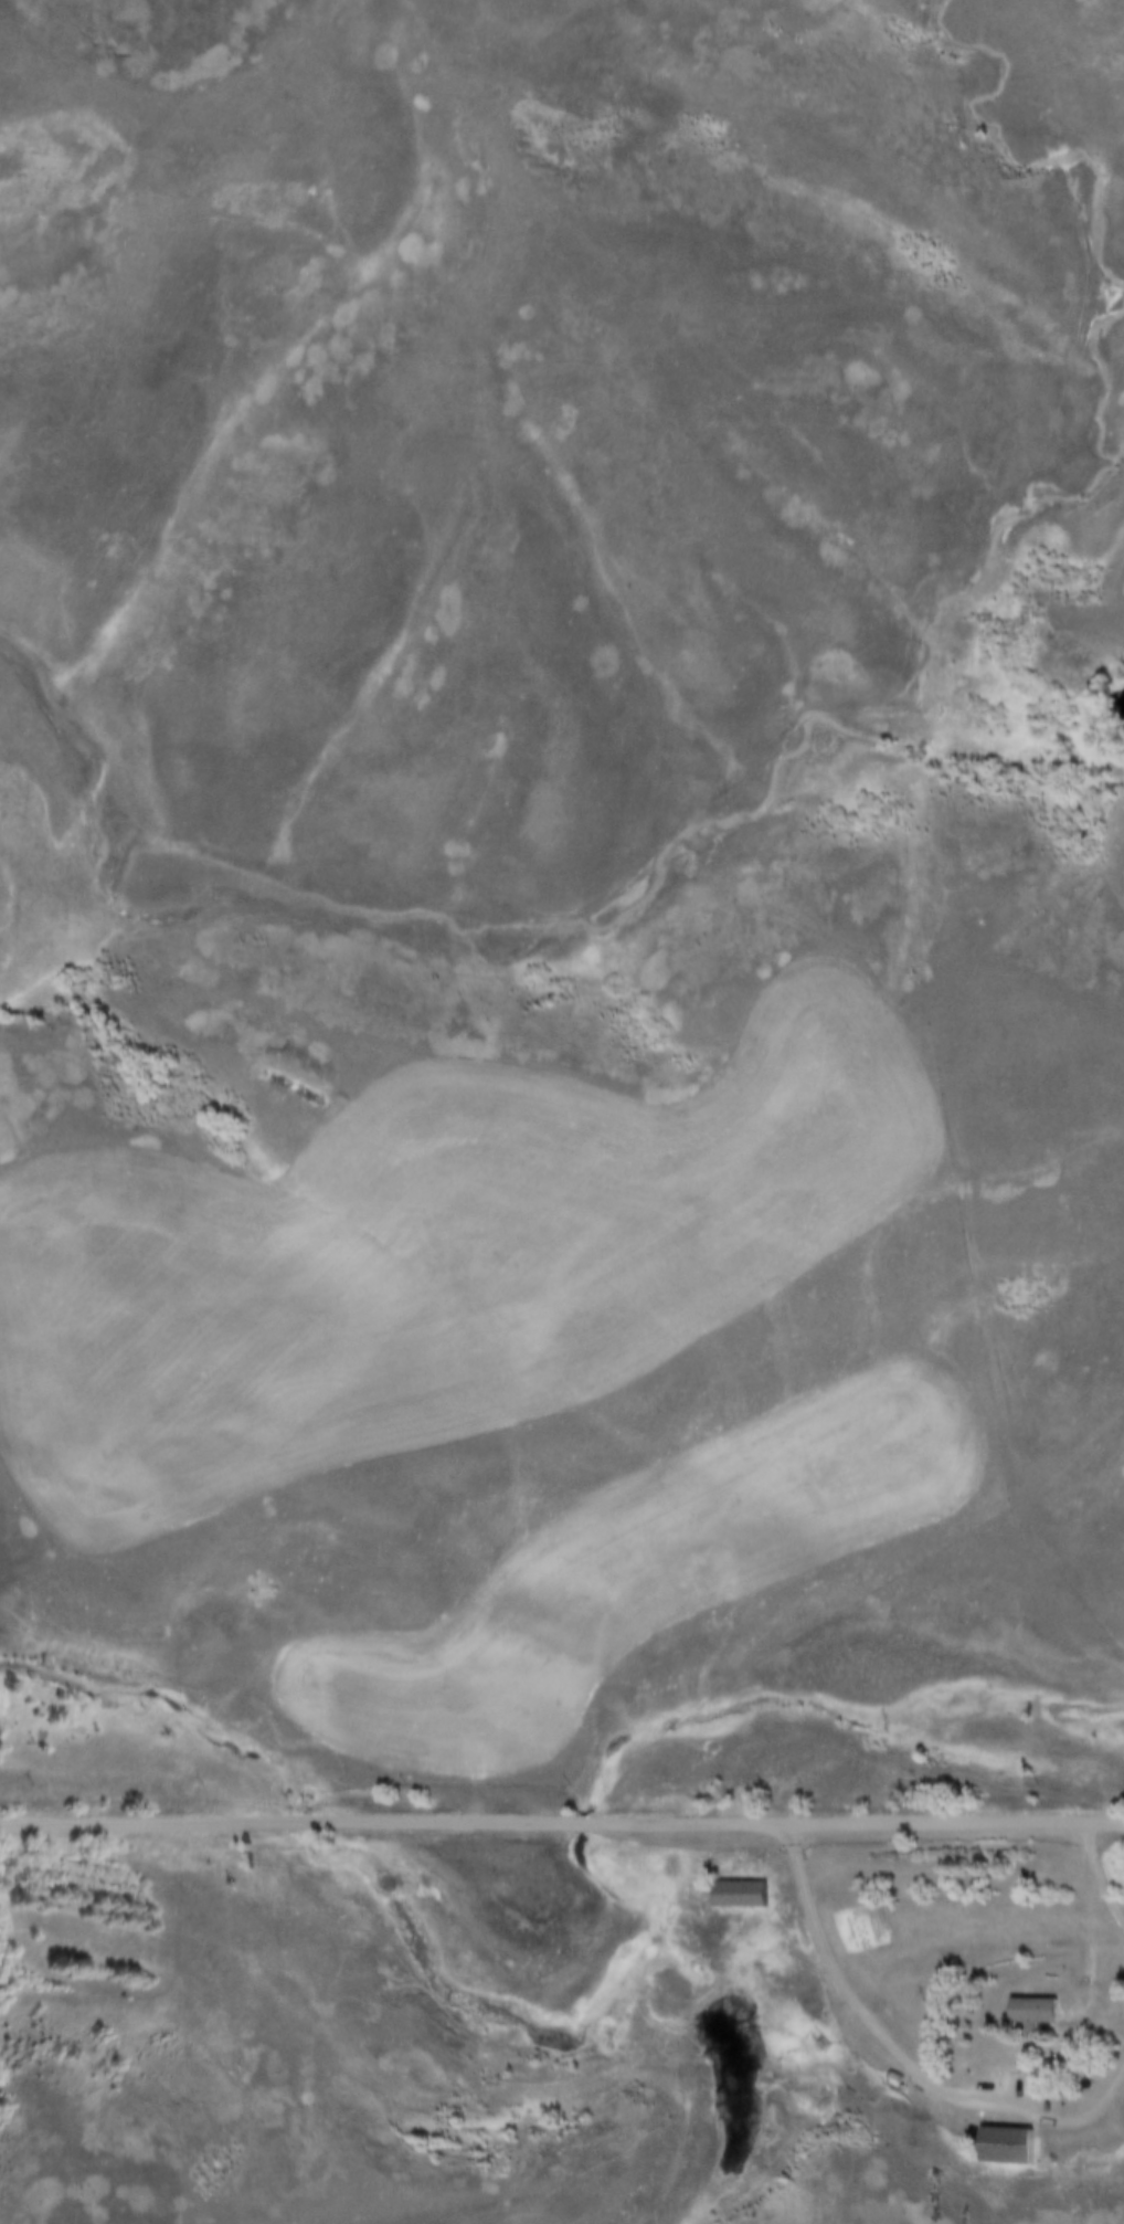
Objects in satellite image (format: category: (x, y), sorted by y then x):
road: (562, 1825)
road: (1095, 1877)
building: (743, 1893)
building: (1037, 2012)
road: (912, 2068)
building: (1062, 2101)
building: (1009, 2144)

